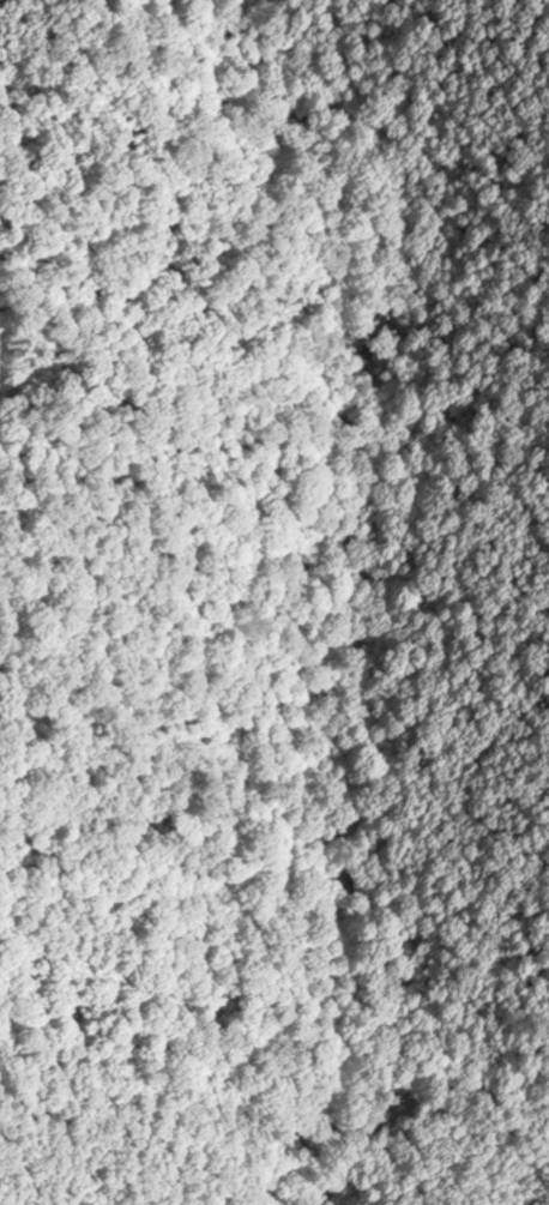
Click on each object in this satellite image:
road: (367, 580)

